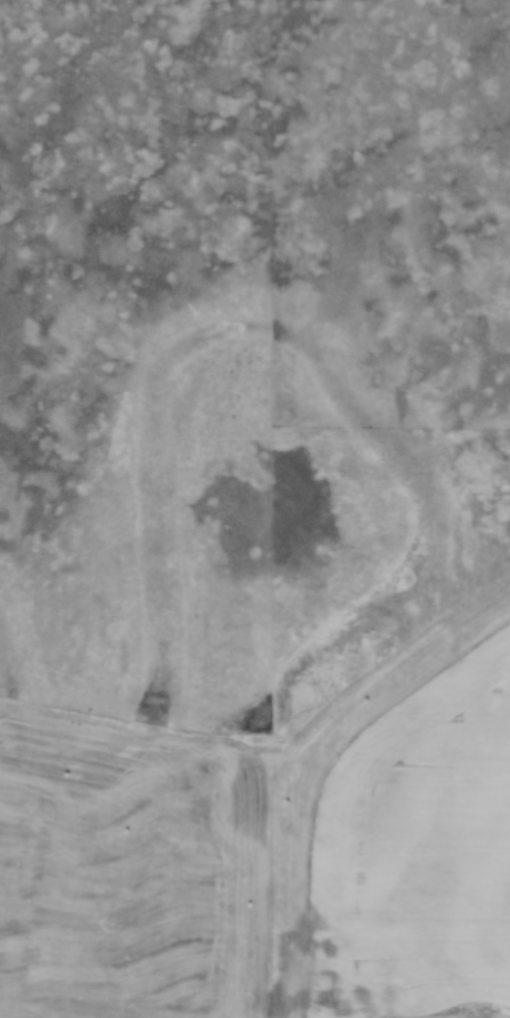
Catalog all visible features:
road: (320, 769)

